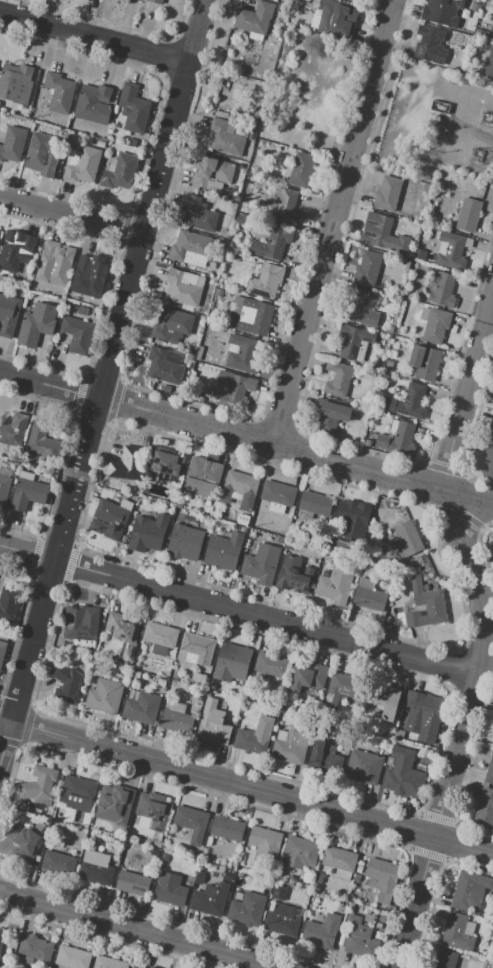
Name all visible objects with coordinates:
building: (138, 0)
building: (351, 0)
building: (157, 1)
building: (478, 2)
building: (476, 7)
building: (438, 9)
building: (255, 18)
building: (336, 18)
building: (492, 36)
road: (93, 37)
building: (430, 44)
building: (489, 65)
building: (17, 83)
building: (60, 92)
building: (93, 102)
building: (0, 103)
building: (133, 108)
power tower: (485, 120)
building: (286, 136)
building: (225, 139)
building: (132, 142)
building: (100, 143)
building: (13, 144)
building: (41, 157)
power tower: (476, 157)
building: (82, 165)
building: (301, 170)
building: (119, 172)
building: (212, 174)
building: (387, 193)
building: (285, 209)
road: (70, 212)
building: (198, 214)
building: (468, 215)
road: (331, 221)
building: (376, 230)
building: (0, 232)
building: (272, 244)
building: (189, 245)
building: (452, 249)
building: (16, 253)
building: (419, 255)
building: (55, 263)
building: (405, 265)
building: (367, 268)
building: (90, 277)
building: (265, 281)
building: (184, 287)
building: (442, 288)
building: (218, 292)
building: (360, 309)
building: (8, 315)
building: (252, 315)
building: (36, 322)
building: (435, 324)
building: (172, 325)
building: (77, 334)
building: (351, 340)
building: (243, 354)
building: (425, 362)
building: (163, 367)
building: (338, 379)
road: (103, 383)
building: (234, 387)
building: (167, 389)
building: (408, 402)
building: (331, 417)
building: (490, 427)
building: (13, 430)
road: (247, 436)
building: (337, 436)
building: (402, 440)
building: (42, 442)
building: (488, 462)
building: (127, 463)
building: (167, 465)
building: (202, 478)
building: (241, 483)
building: (3, 490)
building: (28, 491)
building: (278, 493)
building: (316, 503)
building: (352, 513)
building: (111, 518)
building: (97, 525)
building: (147, 533)
building: (407, 539)
building: (184, 542)
building: (223, 550)
building: (492, 563)
building: (261, 564)
building: (294, 575)
building: (336, 585)
building: (368, 595)
building: (8, 602)
building: (426, 605)
road: (238, 611)
building: (82, 626)
building: (124, 632)
building: (160, 637)
road: (484, 641)
building: (199, 647)
building: (2, 651)
building: (232, 662)
building: (271, 665)
building: (135, 674)
building: (196, 676)
building: (309, 677)
building: (66, 682)
building: (161, 682)
building: (340, 687)
building: (105, 695)
building: (383, 700)
building: (140, 708)
building: (423, 714)
building: (177, 719)
building: (213, 724)
building: (398, 734)
building: (255, 736)
building: (290, 746)
building: (324, 758)
building: (364, 767)
building: (489, 770)
building: (404, 777)
building: (38, 784)
road: (246, 785)
building: (78, 793)
building: (115, 806)
building: (485, 807)
building: (154, 810)
building: (191, 822)
building: (227, 828)
building: (24, 842)
building: (158, 843)
building: (265, 844)
building: (300, 852)
building: (153, 853)
building: (165, 857)
building: (339, 859)
building: (58, 862)
building: (234, 864)
building: (96, 867)
building: (214, 874)
building: (229, 874)
building: (199, 877)
building: (382, 878)
building: (133, 883)
building: (170, 889)
building: (469, 891)
building: (278, 893)
building: (211, 898)
building: (247, 909)
building: (369, 918)
building: (282, 920)
building: (379, 926)
road: (139, 929)
building: (458, 931)
building: (321, 932)
building: (378, 934)
building: (0, 935)
building: (358, 938)
building: (35, 947)
building: (72, 957)
building: (445, 959)
building: (109, 962)
building: (138, 966)

